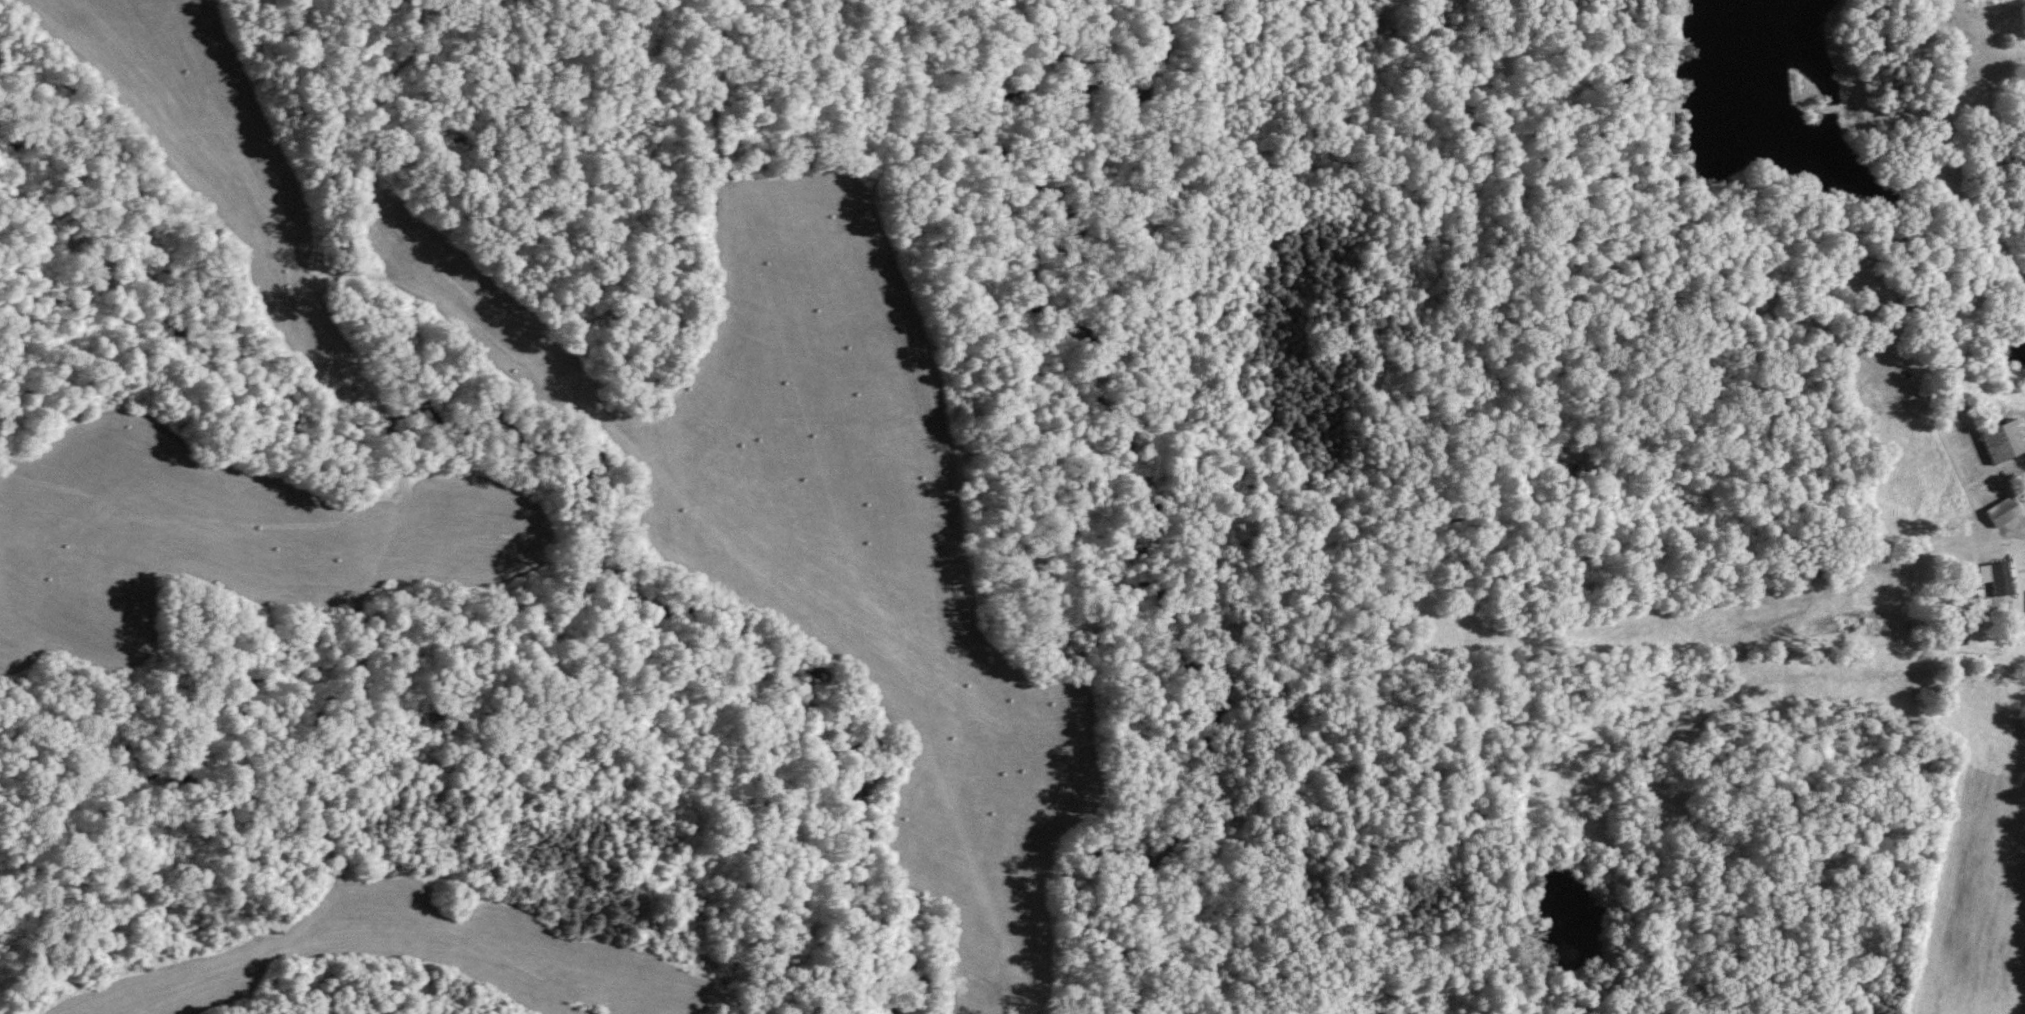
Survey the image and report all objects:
building: (2002, 443)
building: (2001, 512)
building: (2002, 577)
building: (1977, 578)

